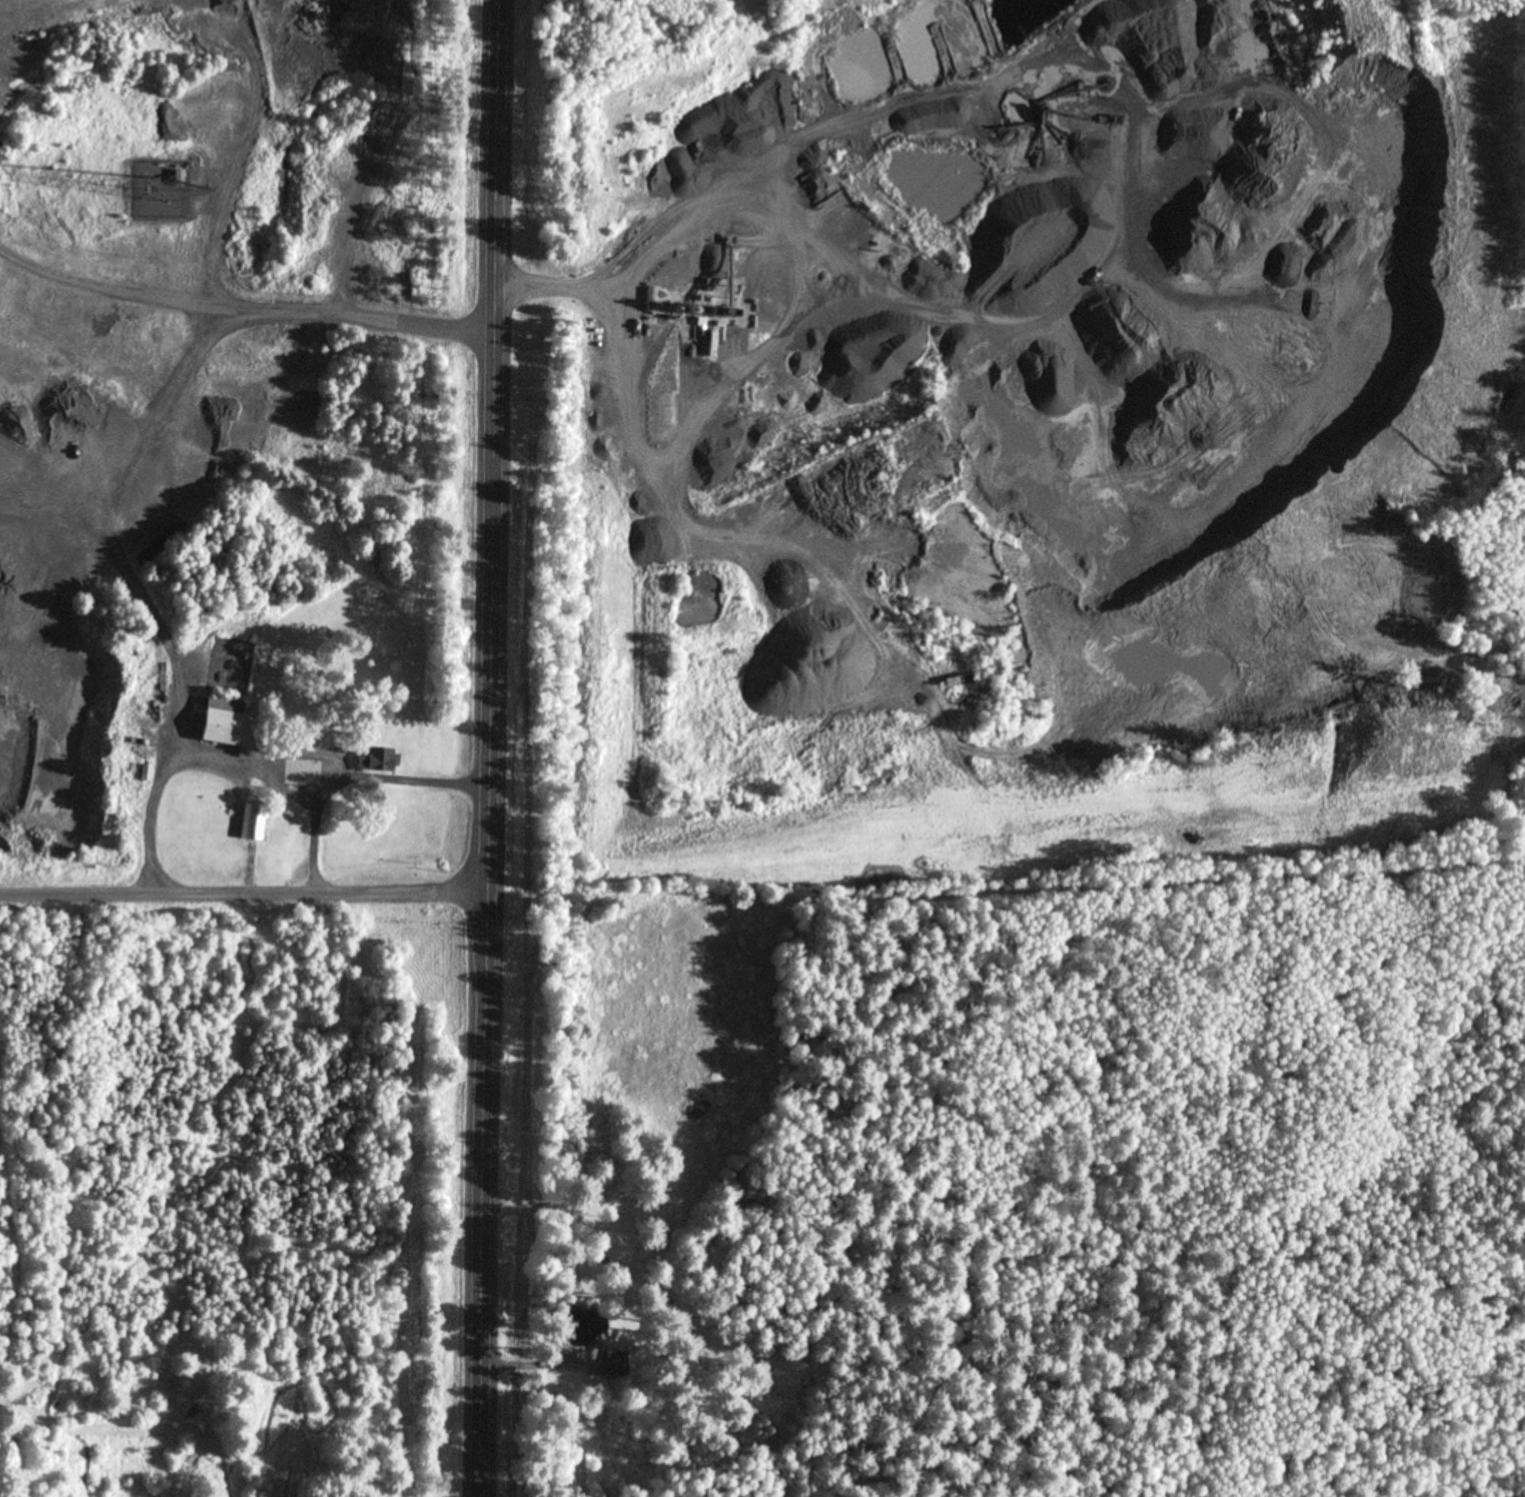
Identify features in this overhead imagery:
building: (179, 177)
building: (368, 278)
quarry: (165, 309)
quarry: (1008, 365)
building: (230, 474)
building: (80, 547)
building: (226, 724)
road: (495, 748)
building: (379, 759)
building: (145, 772)
building: (310, 775)
building: (254, 822)
road: (246, 903)
building: (583, 1327)
building: (615, 1368)

